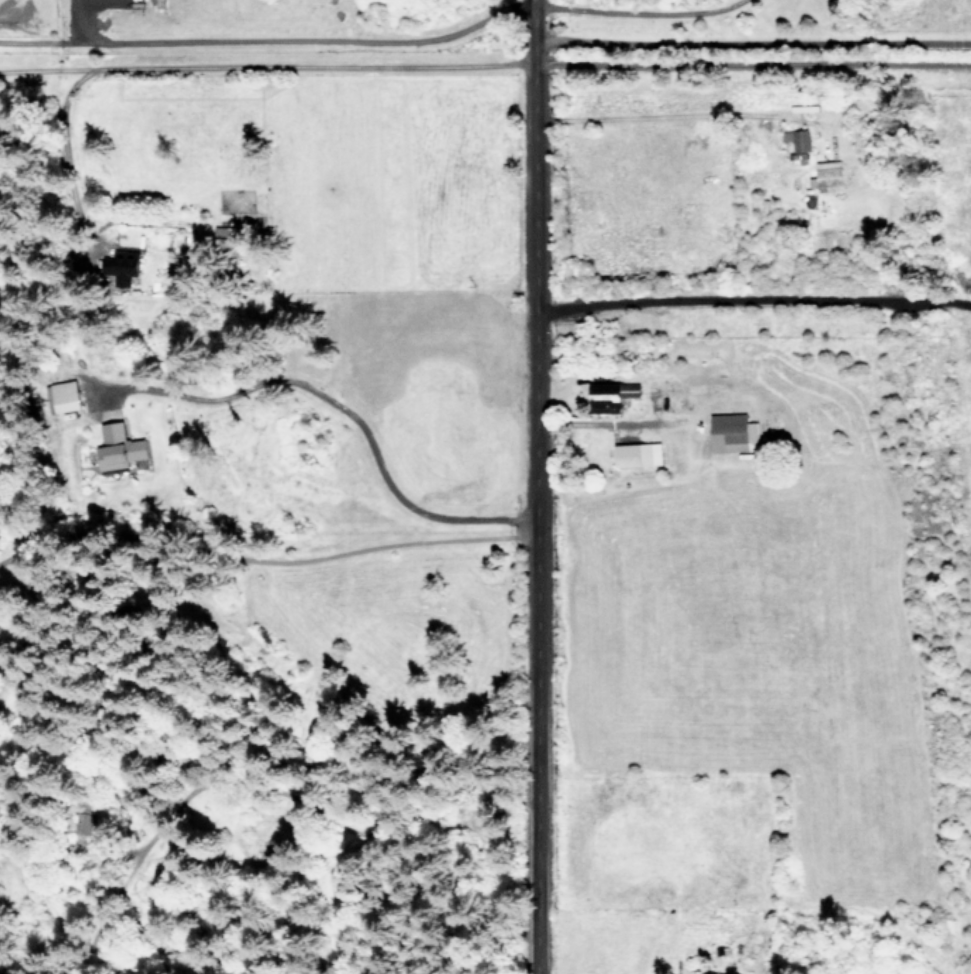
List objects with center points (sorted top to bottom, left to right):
road: (625, 4)
road: (72, 19)
road: (750, 33)
road: (259, 37)
road: (195, 59)
road: (749, 64)
road: (37, 65)
building: (801, 140)
building: (827, 174)
building: (225, 234)
building: (123, 264)
road: (750, 291)
building: (611, 395)
road: (334, 401)
building: (733, 432)
building: (638, 454)
road: (529, 487)
building: (713, 973)

